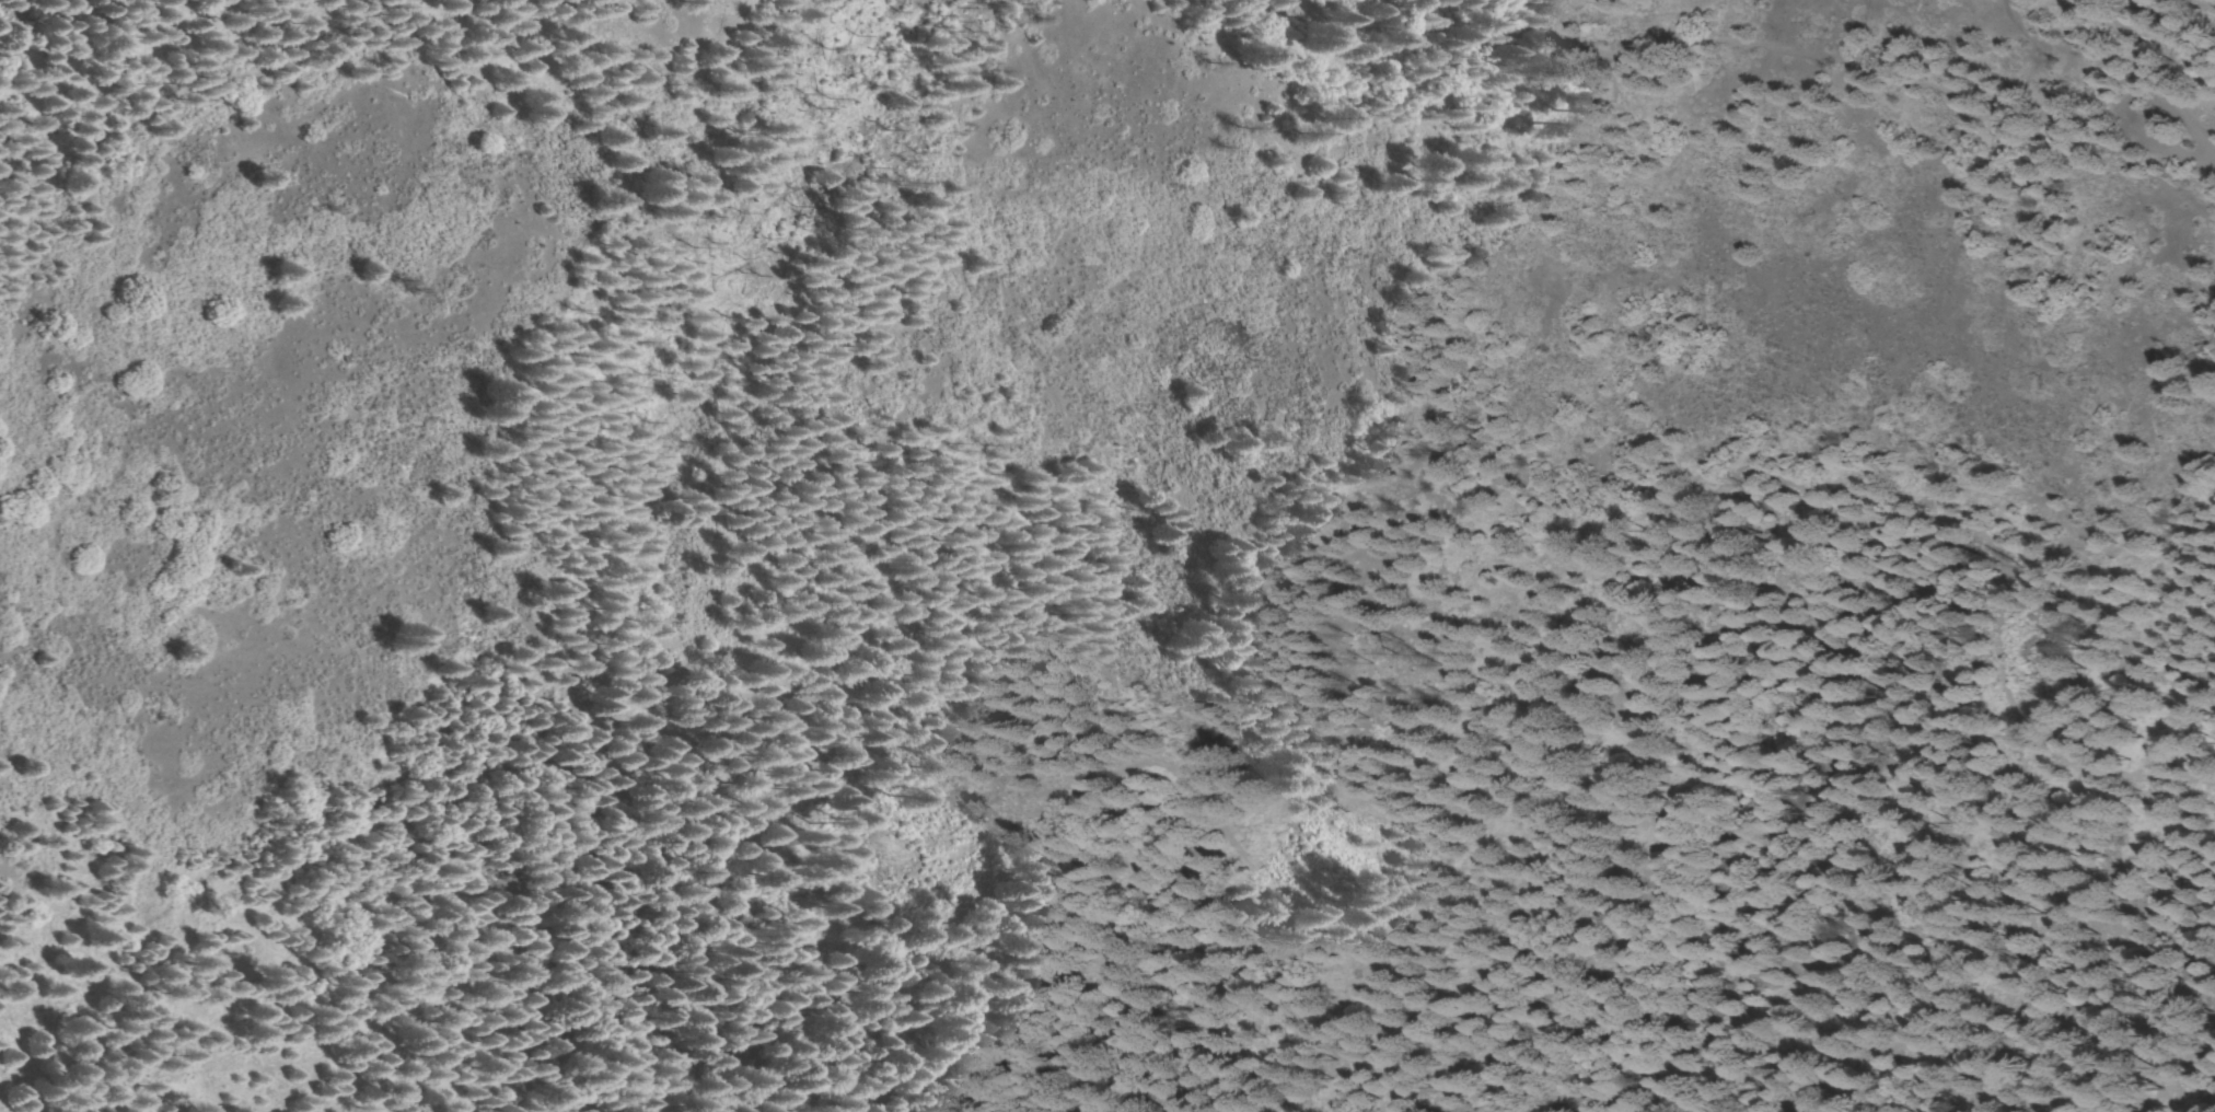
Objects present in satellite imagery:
road: (1679, 35)
road: (2156, 62)
road: (190, 86)

